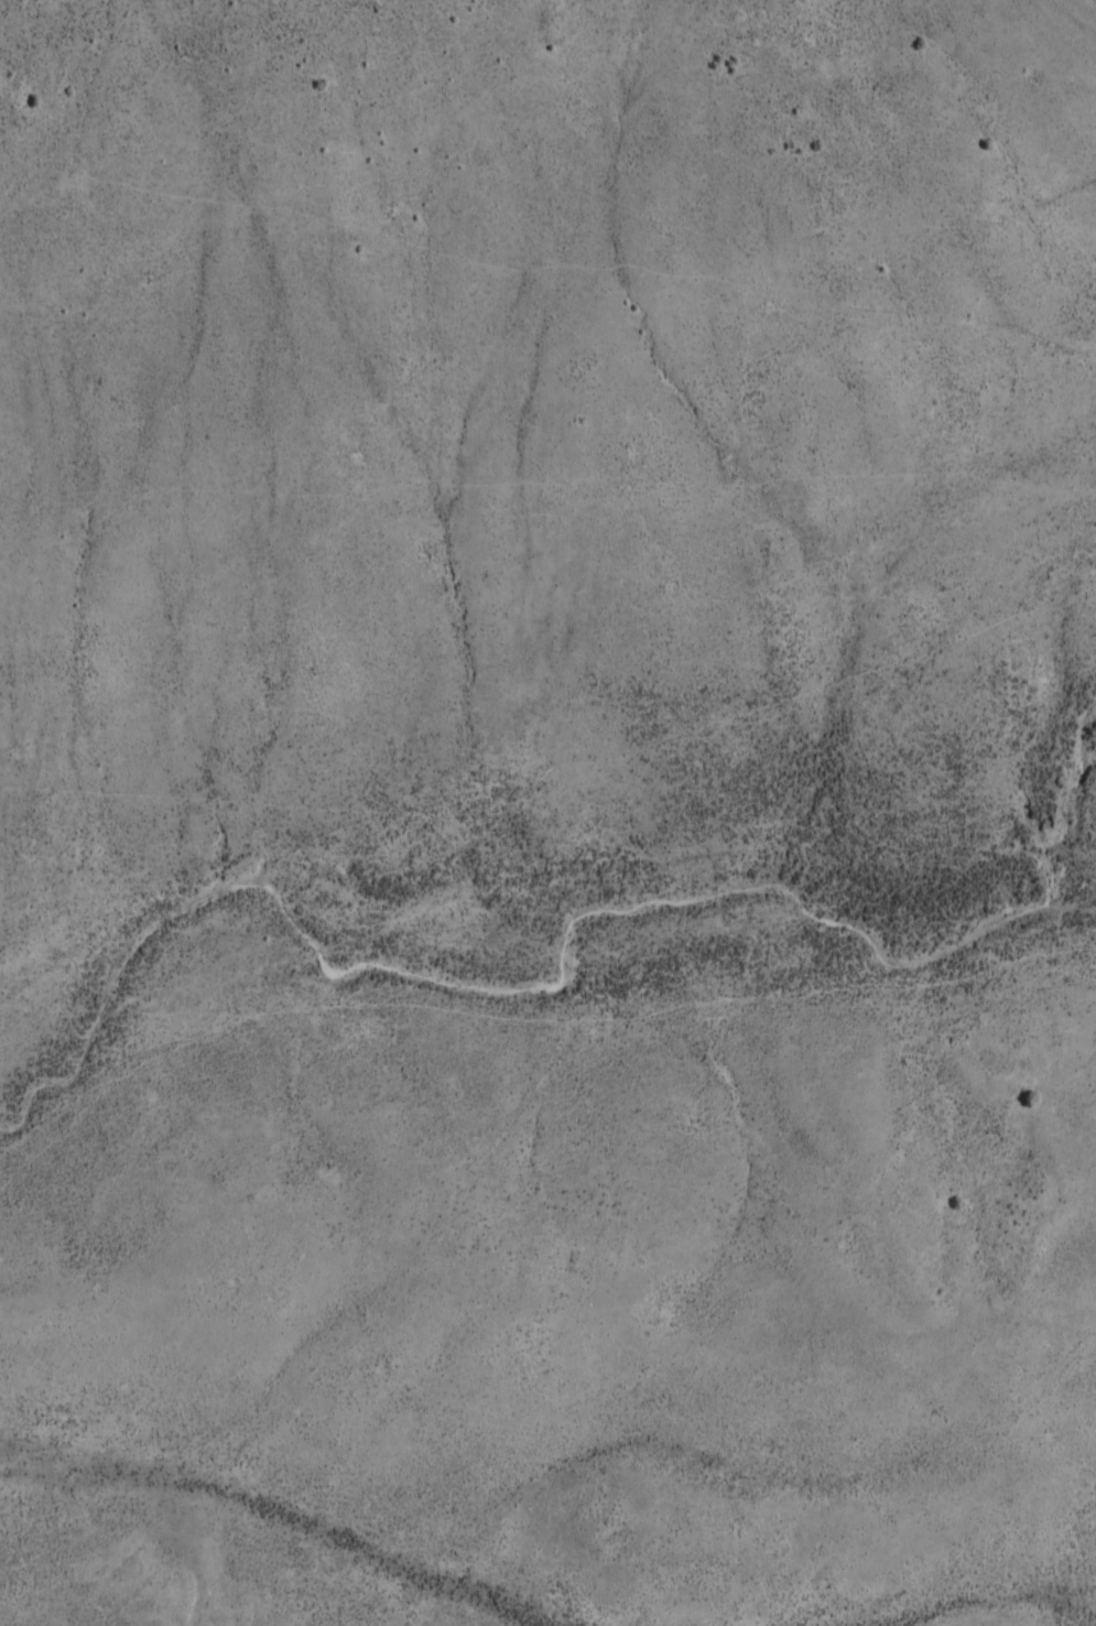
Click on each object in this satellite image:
river: (496, 971)

